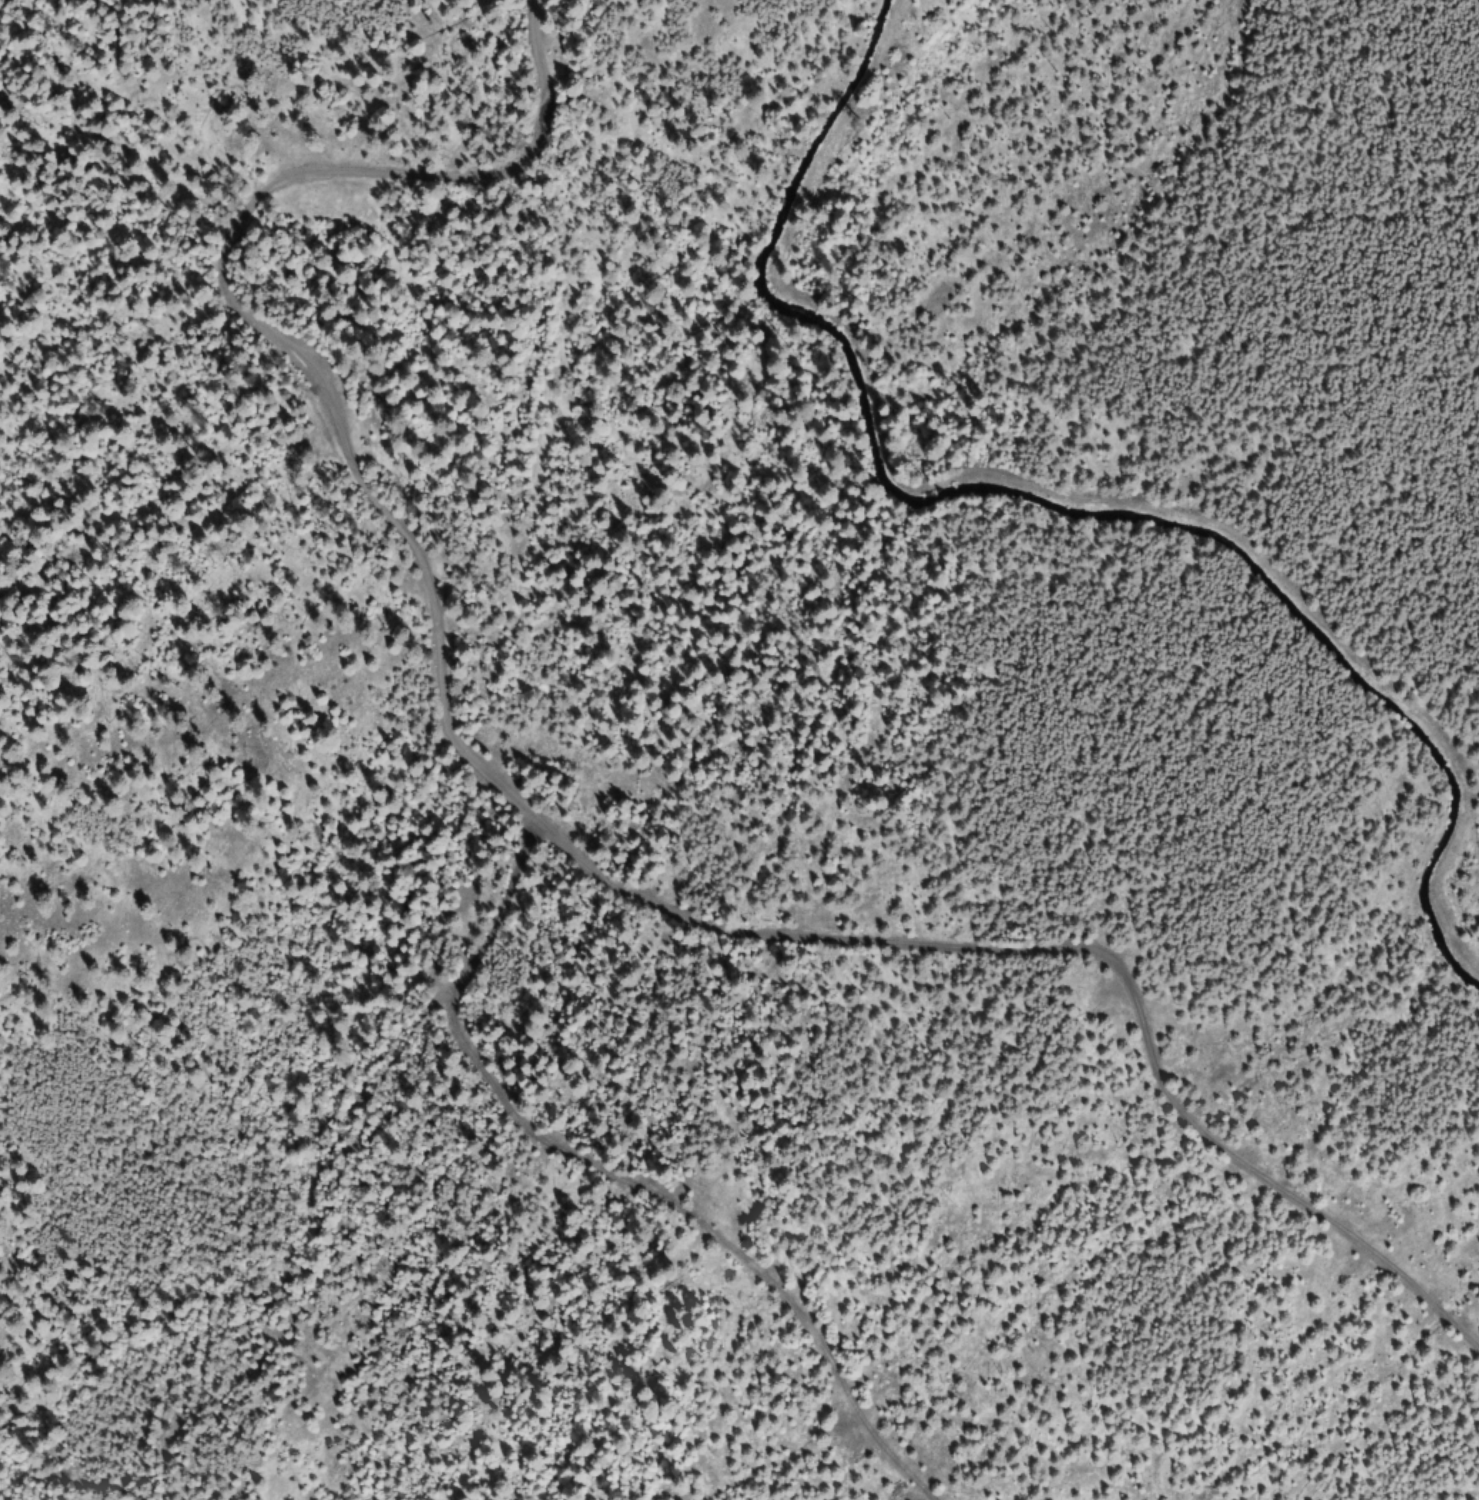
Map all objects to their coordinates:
road: (306, 369)
road: (1050, 965)
road: (679, 1142)

